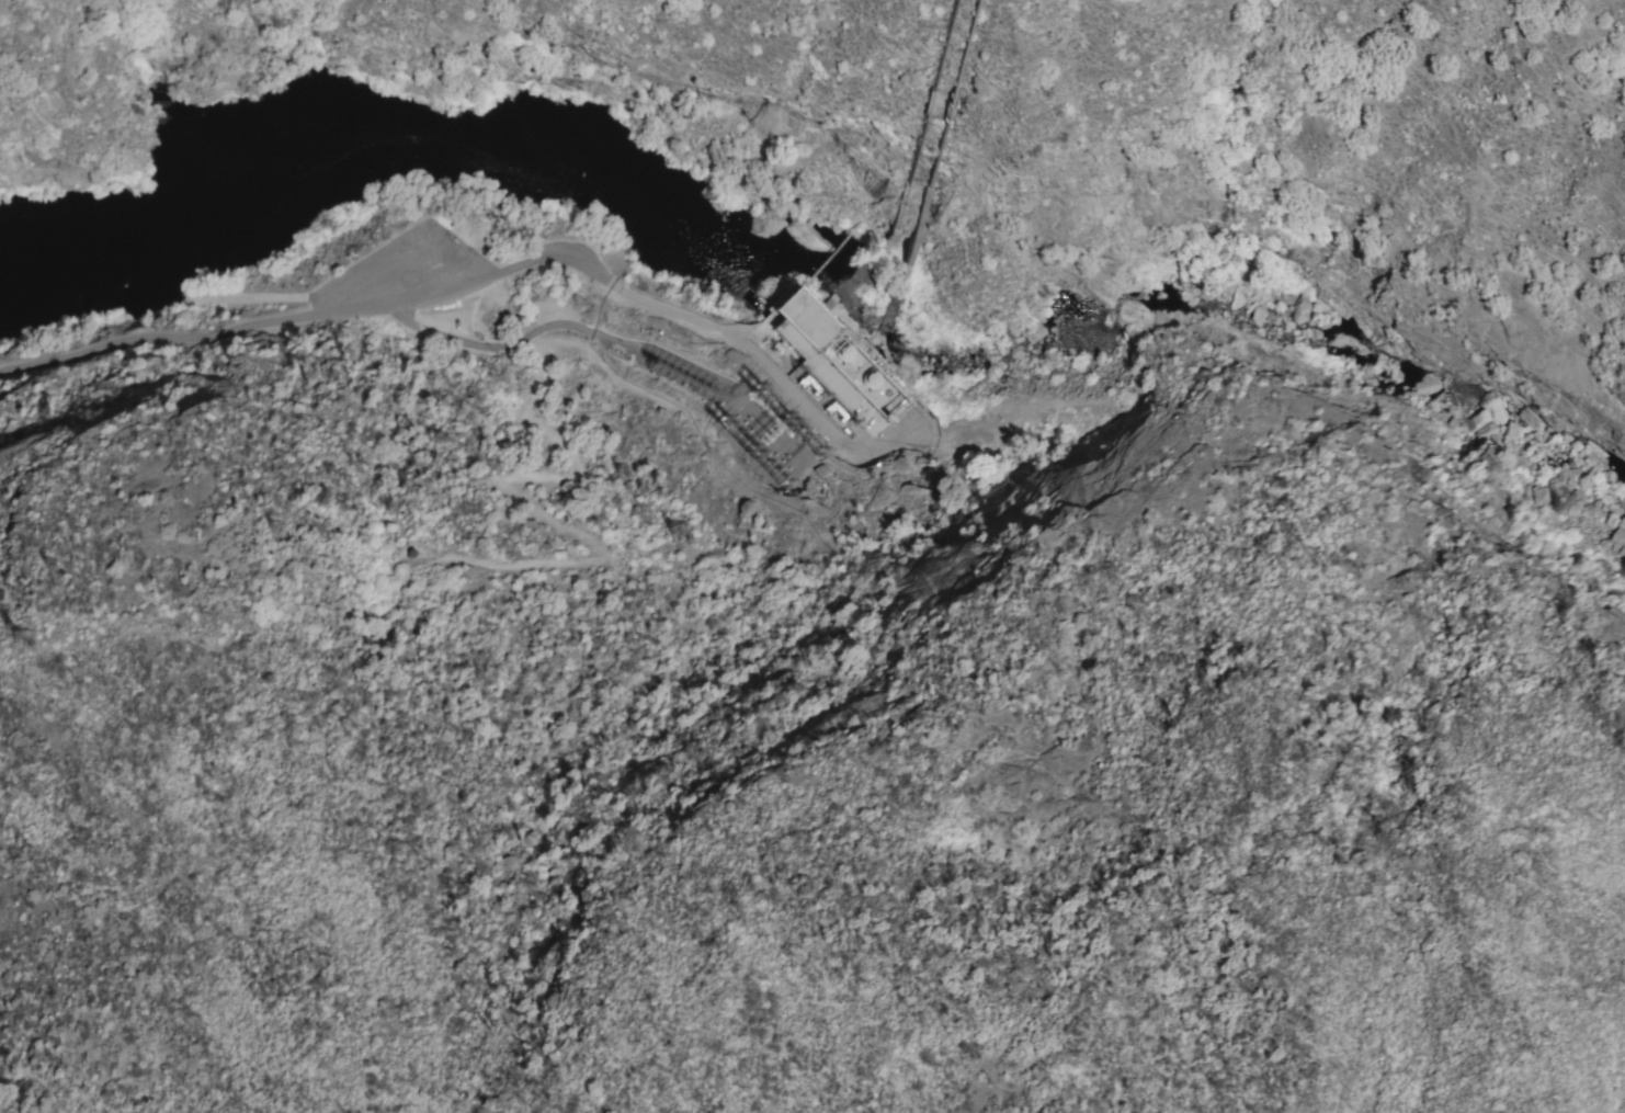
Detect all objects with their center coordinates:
river: (814, 291)
road: (457, 292)
road: (289, 298)
road: (565, 327)
power substation: (720, 407)
power tower: (798, 434)
power tower: (622, 476)
power tower: (276, 533)
power tower: (680, 538)
power tower: (52, 568)
power tower: (27, 643)

